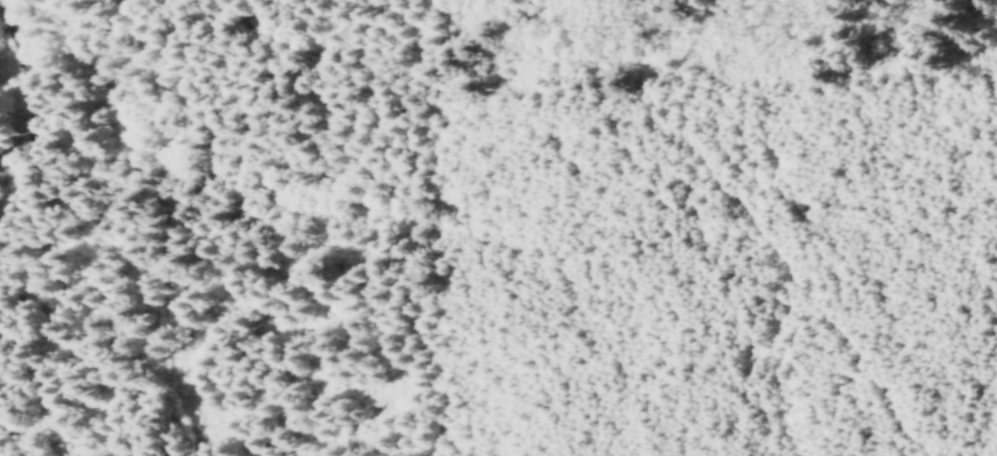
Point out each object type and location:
road: (32, 130)

